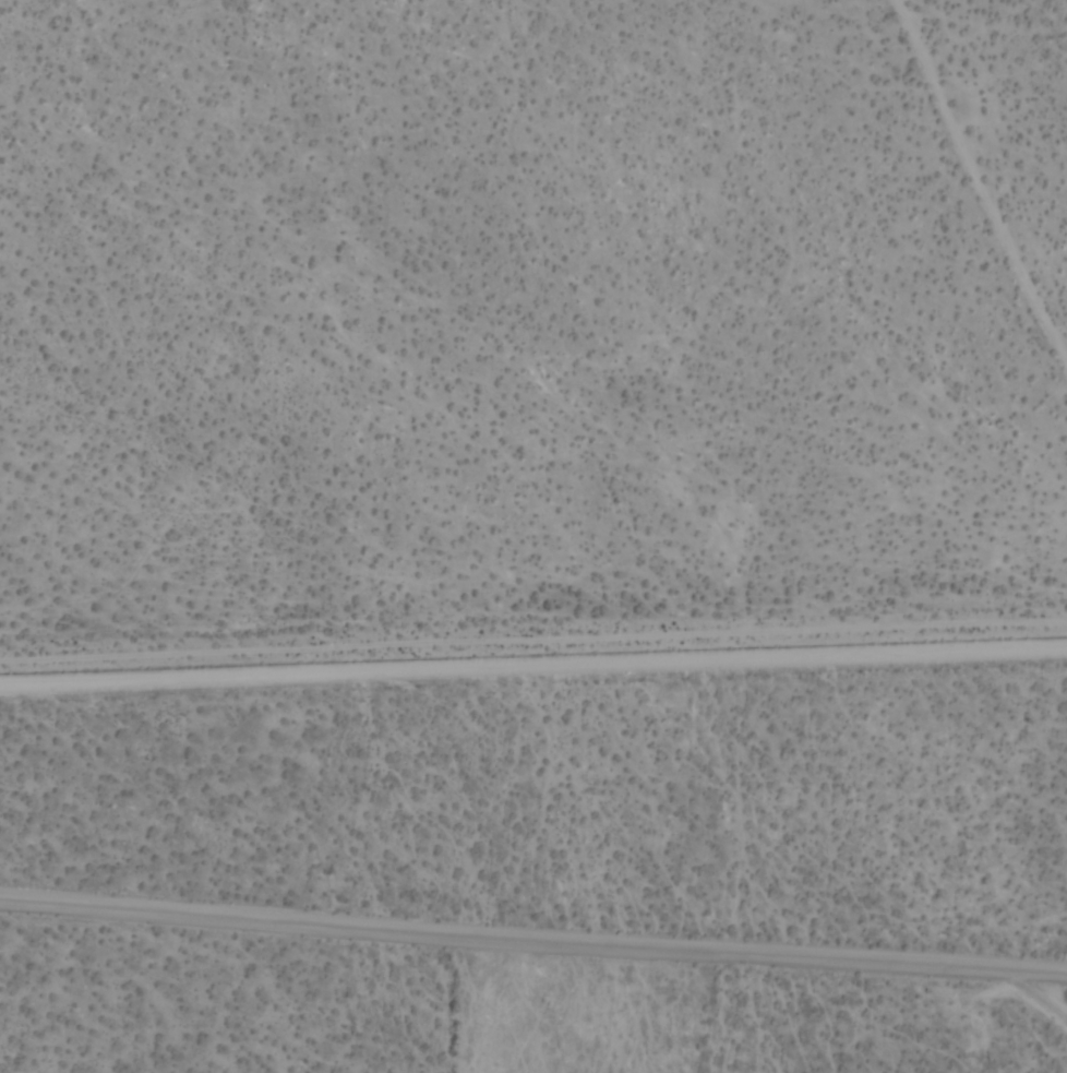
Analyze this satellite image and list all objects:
road: (533, 652)
airport: (541, 865)
road: (533, 935)
road: (1035, 992)

